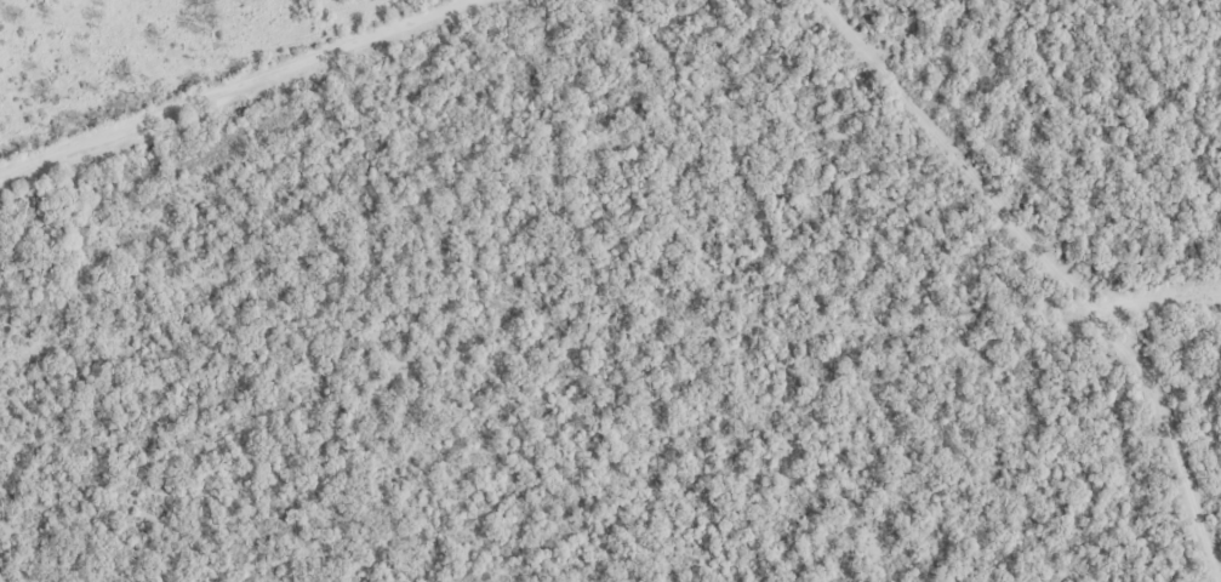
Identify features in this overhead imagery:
road: (233, 84)
road: (1052, 266)

